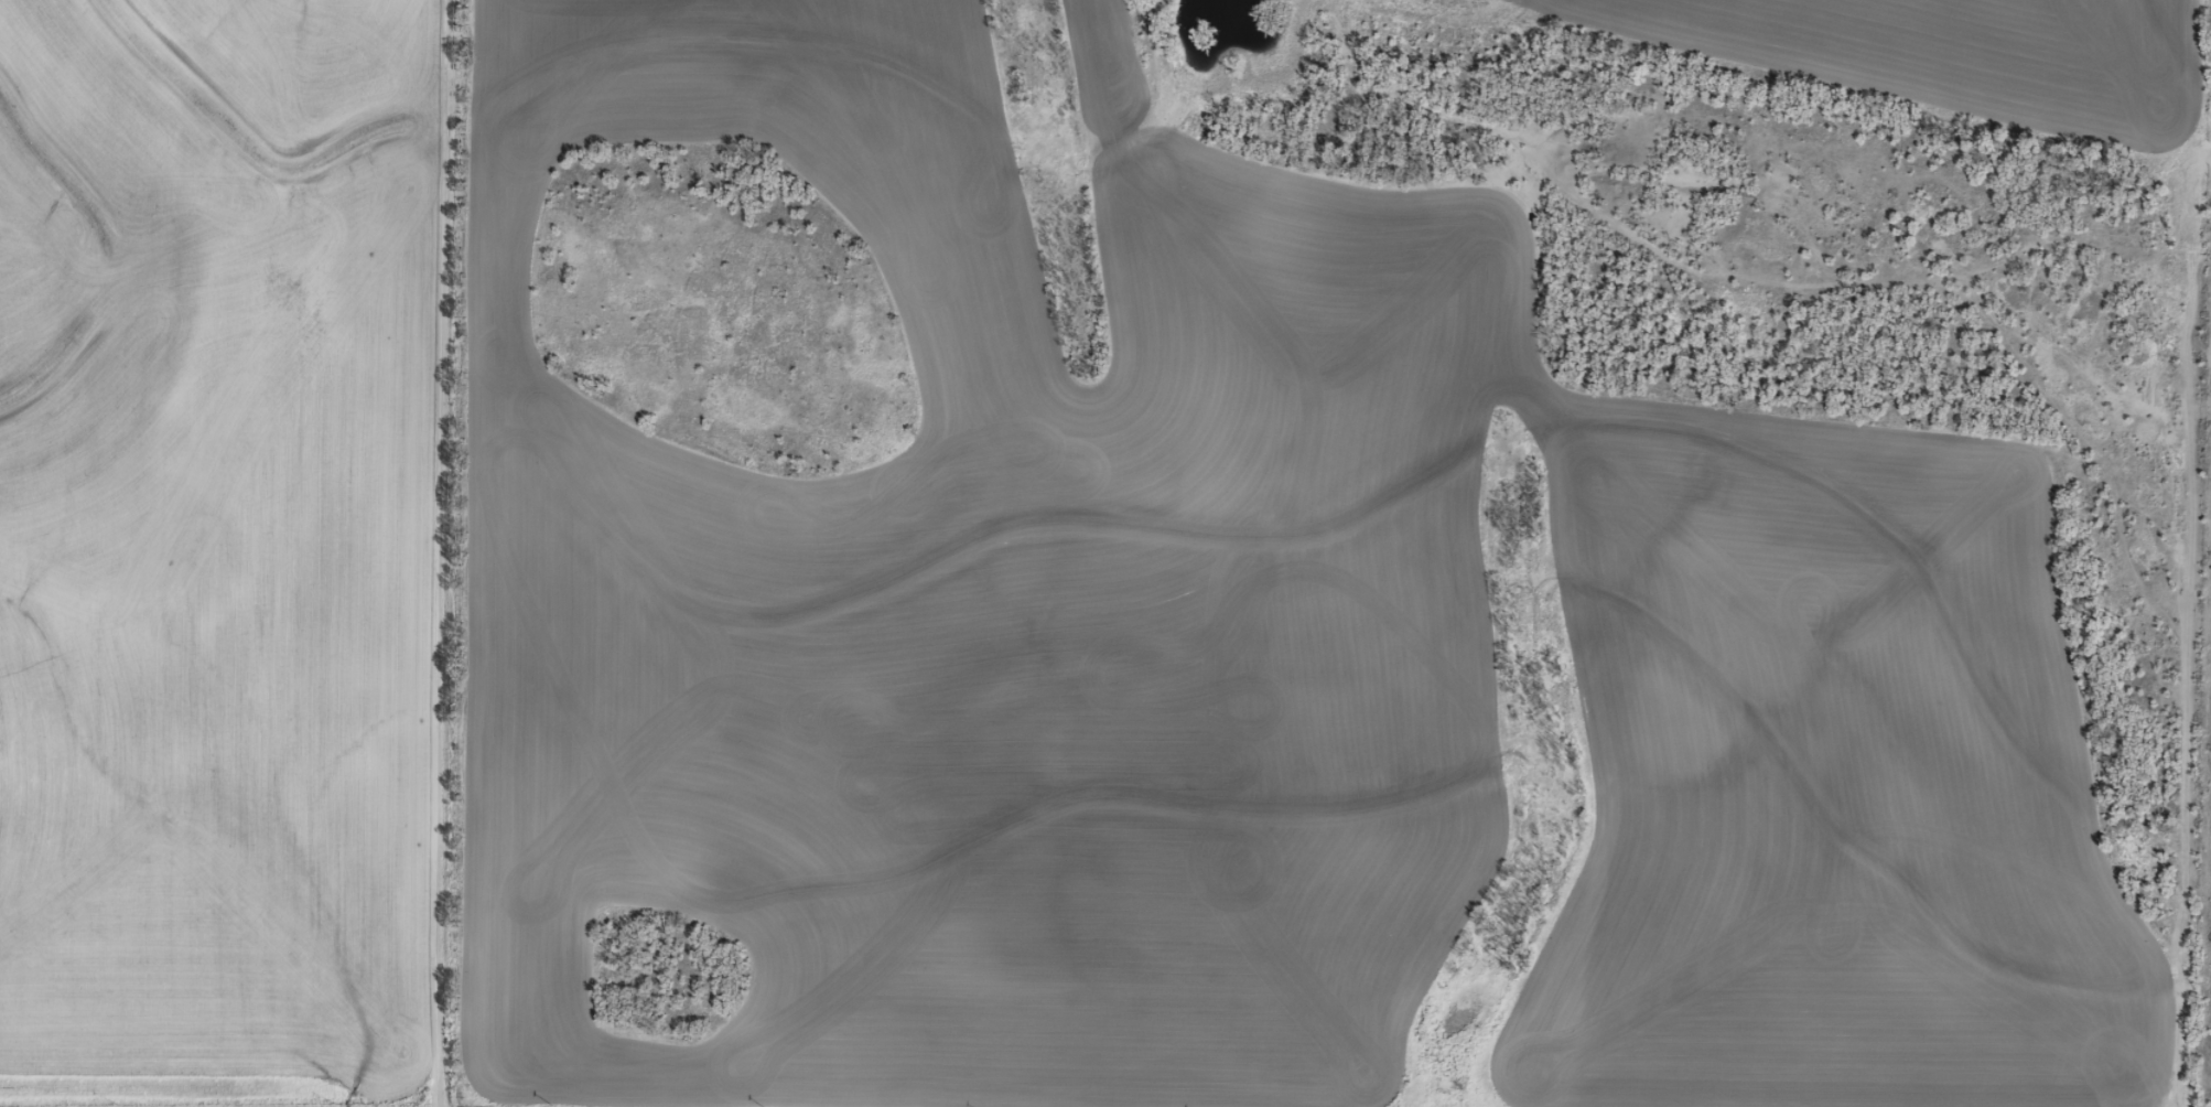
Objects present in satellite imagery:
road: (560, 553)

